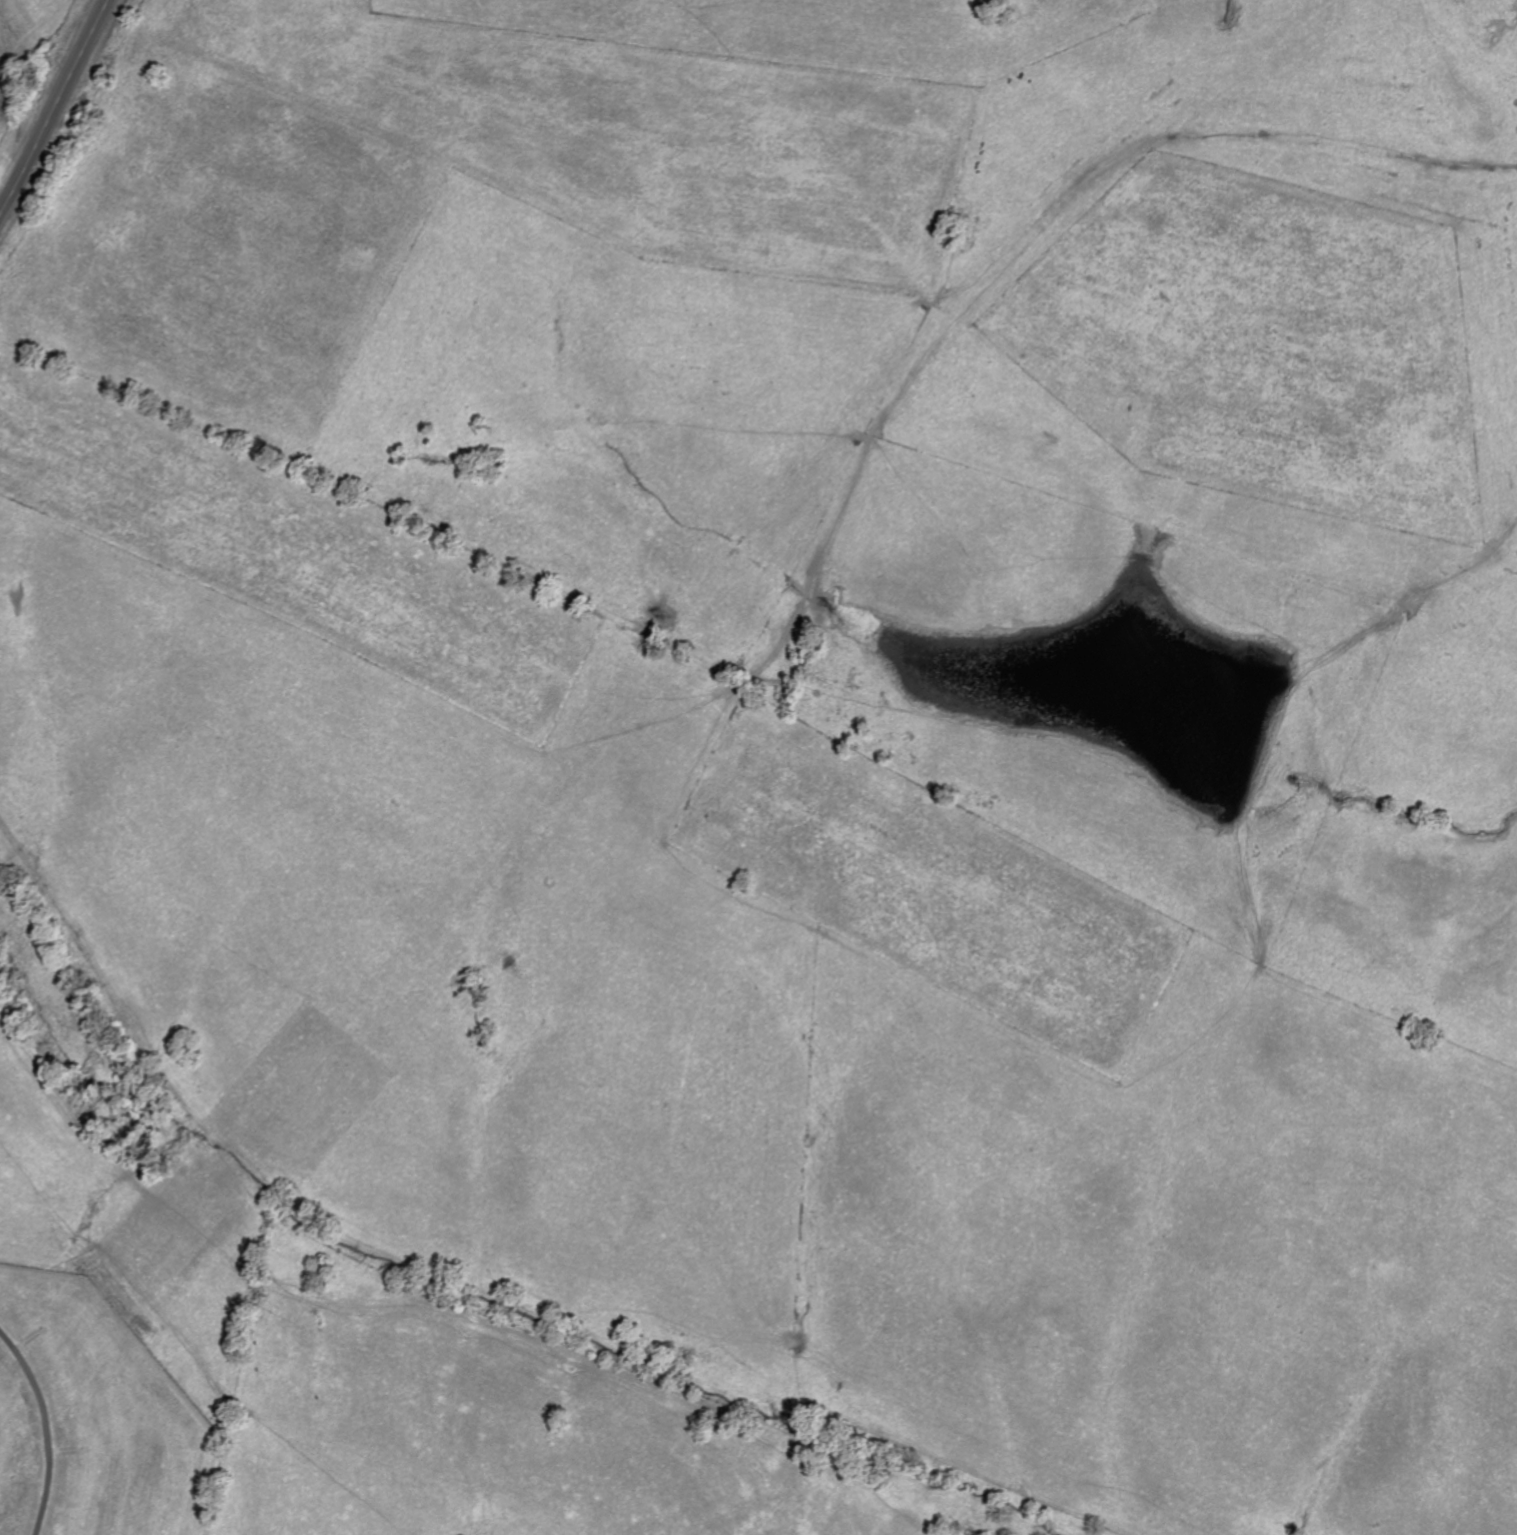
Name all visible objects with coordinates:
road: (57, 109)
park: (88, 1417)
road: (46, 1427)

